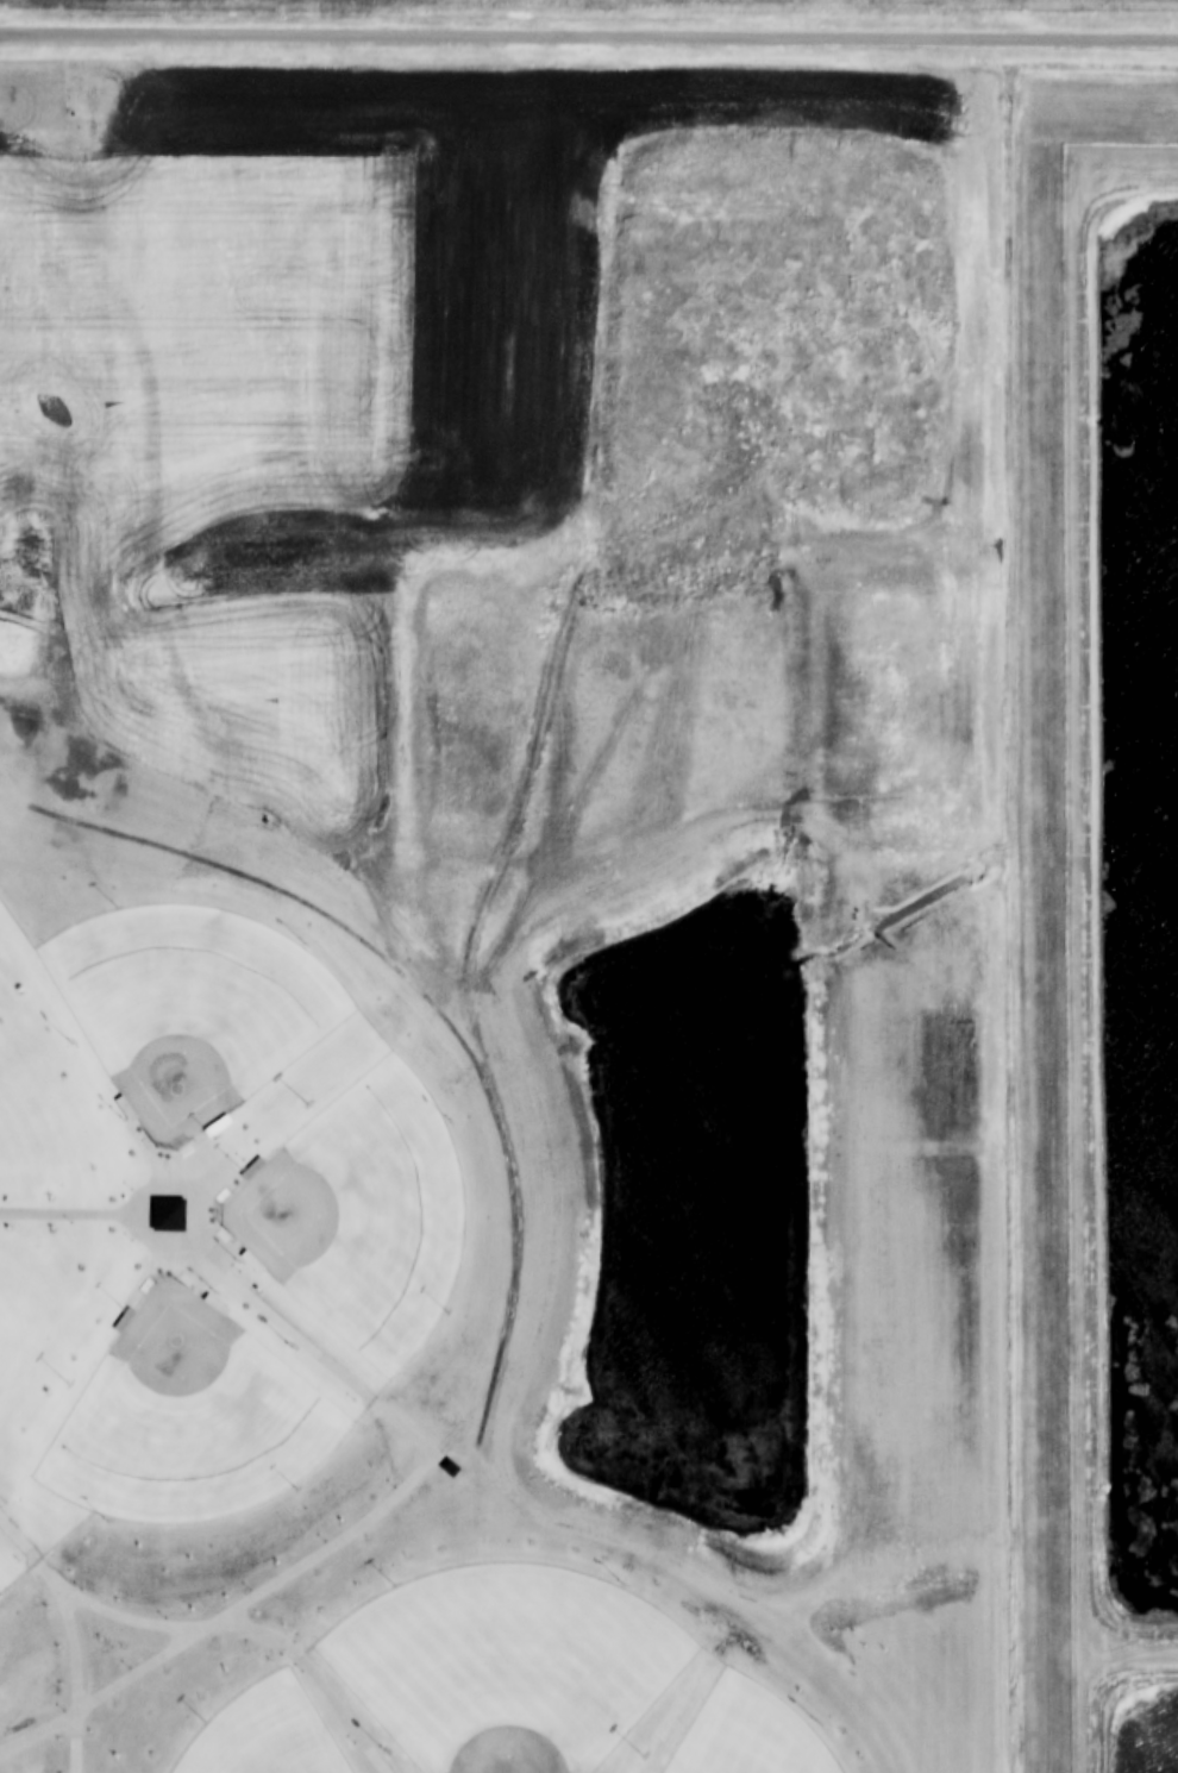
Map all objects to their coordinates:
crop: (637, 5)
road: (589, 38)
crop: (494, 917)
wastewater plant: (1122, 946)
park: (192, 1009)
road: (151, 1154)
road: (151, 1189)
road: (67, 1214)
park: (362, 1216)
road: (152, 1270)
park: (187, 1423)
road: (361, 1524)
road: (88, 1603)
park: (506, 1664)
road: (313, 1673)
road: (74, 1675)
park: (750, 1733)
park: (268, 1734)

